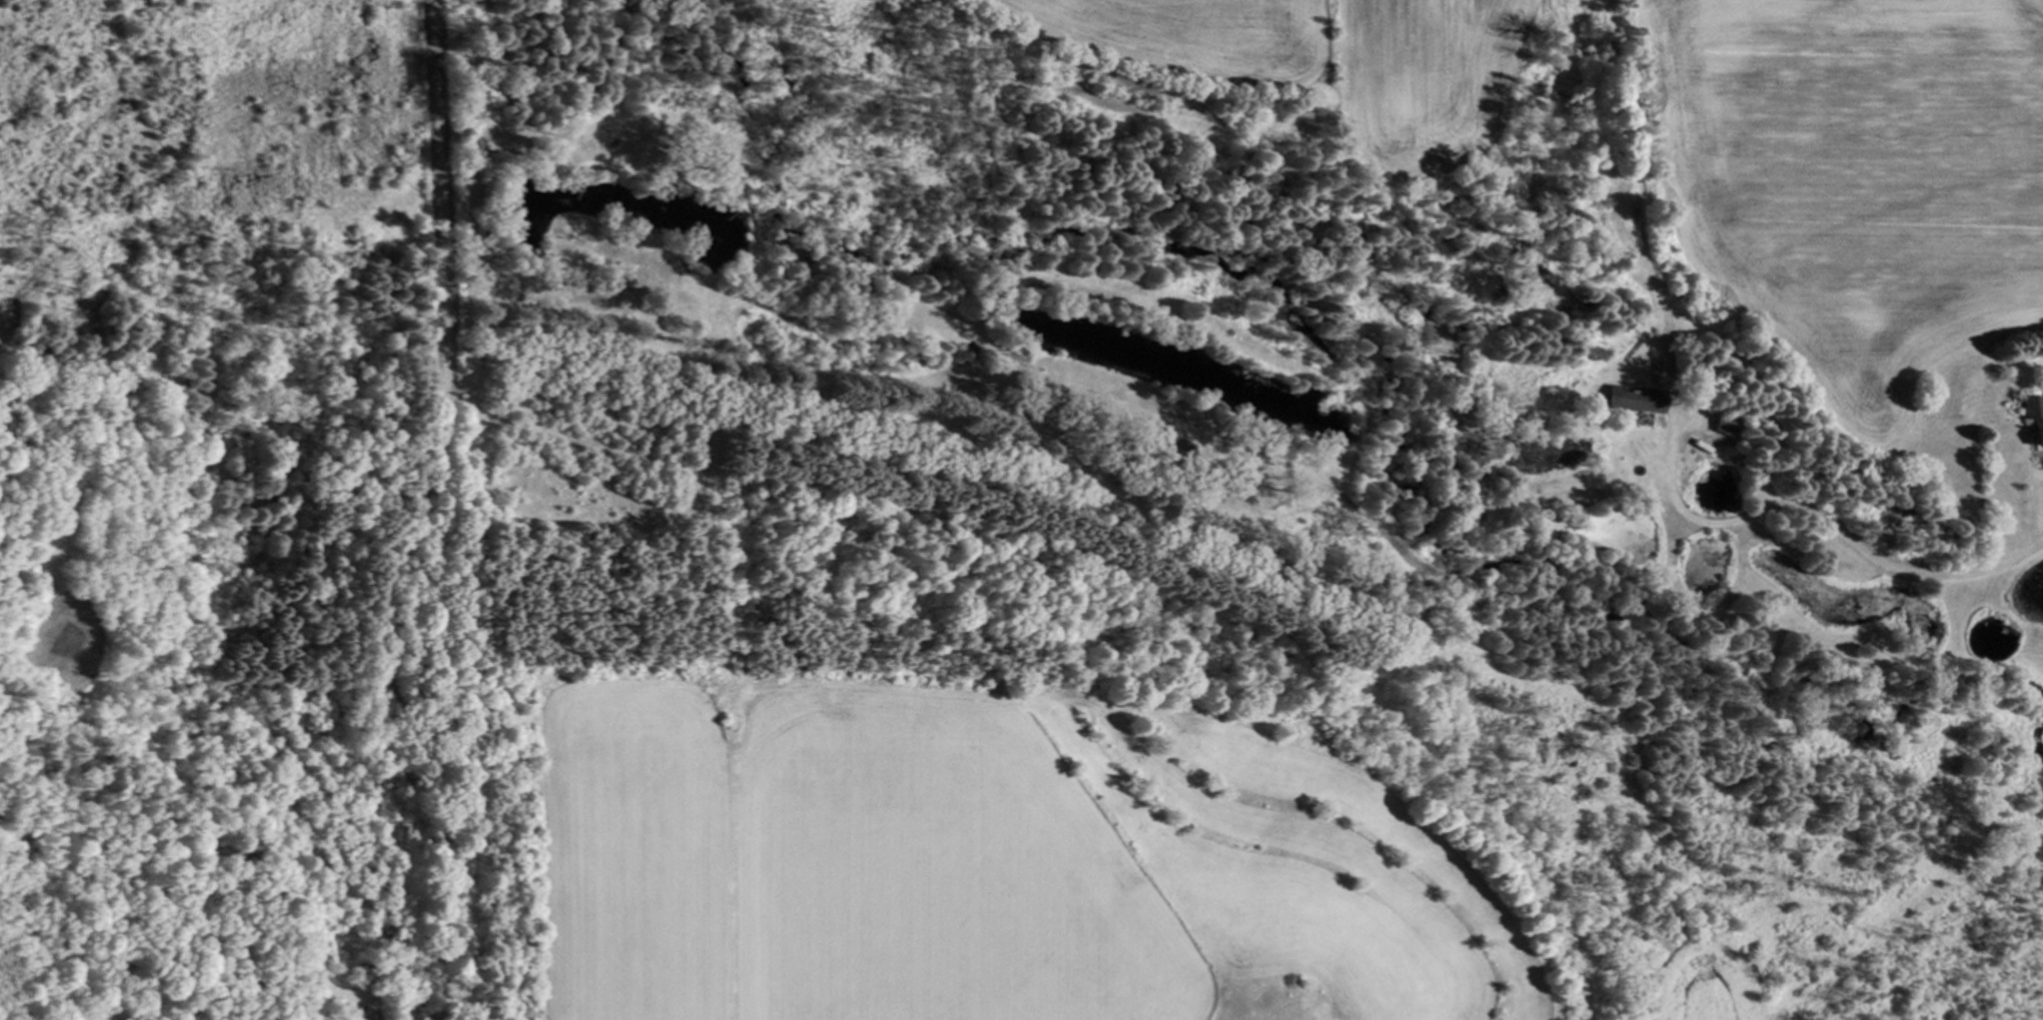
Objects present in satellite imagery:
building: (1639, 401)
building: (2033, 419)
road: (415, 516)
road: (1833, 525)

